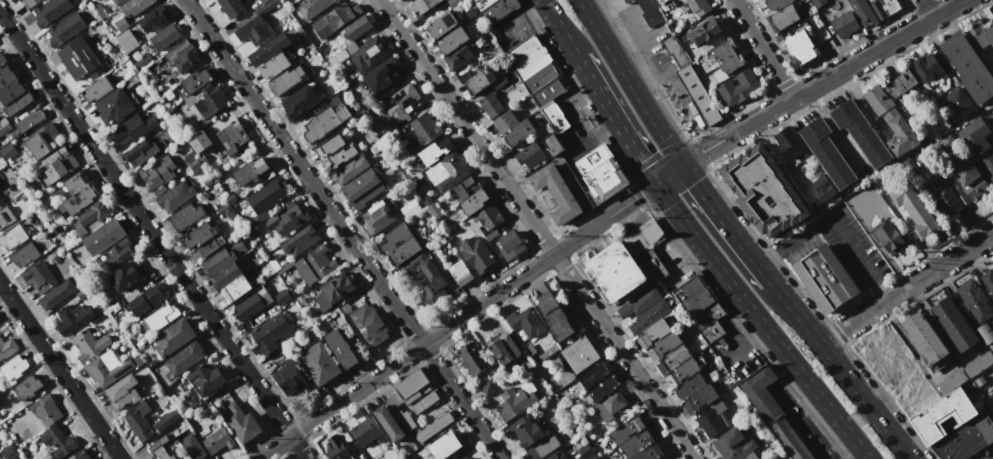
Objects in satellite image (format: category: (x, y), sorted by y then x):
building: (405, 0)
building: (408, 0)
building: (263, 1)
building: (628, 1)
building: (869, 1)
building: (117, 2)
building: (484, 2)
building: (29, 3)
building: (452, 3)
building: (776, 3)
building: (817, 3)
building: (423, 5)
building: (134, 7)
building: (266, 7)
building: (699, 7)
building: (884, 7)
building: (232, 8)
building: (312, 8)
building: (498, 9)
road: (927, 9)
building: (51, 10)
building: (649, 12)
building: (862, 12)
building: (782, 17)
road: (528, 18)
building: (154, 19)
building: (330, 21)
building: (120, 24)
building: (844, 24)
building: (441, 25)
building: (357, 27)
road: (559, 28)
building: (65, 30)
building: (255, 31)
building: (704, 32)
building: (981, 33)
building: (164, 37)
building: (453, 40)
building: (126, 41)
building: (799, 47)
building: (525, 48)
building: (269, 49)
building: (674, 51)
road: (763, 51)
building: (369, 54)
building: (727, 56)
building: (78, 57)
building: (457, 57)
building: (186, 58)
building: (2, 59)
building: (143, 63)
building: (532, 63)
building: (274, 65)
building: (0, 67)
building: (926, 67)
building: (967, 67)
road: (663, 71)
building: (6, 75)
building: (540, 77)
building: (384, 78)
building: (289, 79)
building: (196, 80)
building: (484, 81)
building: (901, 82)
road: (824, 83)
road: (632, 84)
building: (739, 87)
building: (97, 90)
building: (11, 91)
building: (548, 91)
building: (698, 94)
building: (956, 99)
building: (205, 100)
building: (300, 102)
building: (17, 103)
building: (490, 105)
building: (401, 106)
building: (114, 107)
building: (554, 116)
building: (28, 121)
road: (615, 121)
building: (891, 121)
building: (323, 123)
building: (4, 125)
building: (512, 129)
building: (133, 130)
building: (422, 132)
building: (860, 132)
road: (593, 135)
building: (974, 136)
building: (232, 137)
building: (925, 139)
building: (43, 140)
building: (197, 140)
building: (788, 142)
building: (946, 143)
building: (551, 145)
building: (338, 150)
building: (435, 150)
building: (140, 153)
building: (827, 153)
building: (951, 153)
building: (530, 158)
building: (192, 160)
building: (987, 164)
building: (56, 165)
traffic signals: (684, 167)
building: (350, 170)
building: (250, 171)
building: (445, 171)
building: (601, 171)
building: (160, 173)
road: (669, 175)
building: (968, 176)
building: (416, 181)
building: (207, 182)
building: (575, 184)
traffic signals: (654, 184)
building: (364, 188)
building: (822, 188)
building: (763, 191)
building: (556, 192)
building: (77, 194)
building: (175, 196)
building: (233, 196)
building: (470, 196)
building: (265, 197)
building: (943, 197)
building: (1, 201)
building: (410, 208)
building: (432, 208)
building: (914, 209)
building: (89, 216)
building: (185, 216)
building: (6, 217)
building: (378, 217)
building: (489, 217)
building: (287, 219)
road: (727, 224)
road: (834, 224)
road: (341, 229)
road: (534, 229)
building: (253, 231)
road: (153, 235)
building: (642, 236)
building: (13, 237)
building: (103, 237)
building: (201, 238)
building: (890, 238)
road: (875, 239)
building: (300, 241)
building: (510, 244)
building: (399, 245)
building: (119, 252)
building: (24, 254)
building: (477, 255)
building: (217, 261)
building: (314, 264)
building: (651, 265)
building: (615, 270)
building: (460, 273)
building: (426, 274)
building: (127, 275)
building: (226, 275)
building: (39, 277)
building: (825, 278)
building: (987, 279)
building: (237, 288)
road: (906, 288)
building: (687, 289)
building: (330, 290)
building: (57, 294)
building: (282, 296)
building: (145, 298)
building: (698, 301)
building: (975, 301)
building: (253, 302)
building: (639, 302)
building: (707, 314)
building: (554, 316)
building: (649, 316)
building: (73, 318)
building: (158, 318)
road: (456, 321)
building: (526, 321)
road: (761, 322)
building: (953, 324)
building: (368, 325)
building: (655, 331)
building: (270, 332)
building: (710, 332)
building: (986, 335)
building: (172, 337)
building: (924, 338)
building: (665, 343)
building: (686, 343)
building: (88, 344)
building: (981, 345)
building: (7, 347)
building: (341, 348)
building: (504, 348)
building: (529, 349)
building: (580, 354)
building: (184, 358)
building: (472, 358)
building: (672, 358)
building: (138, 360)
building: (318, 363)
building: (978, 365)
building: (14, 367)
building: (107, 368)
building: (684, 369)
road: (841, 369)
road: (59, 372)
building: (289, 377)
building: (206, 379)
building: (978, 381)
building: (951, 382)
building: (580, 383)
building: (689, 385)
building: (28, 387)
building: (488, 388)
building: (600, 388)
building: (124, 392)
building: (412, 392)
building: (990, 392)
building: (700, 399)
building: (513, 403)
building: (609, 405)
building: (46, 409)
building: (992, 409)
building: (772, 411)
building: (943, 414)
building: (711, 418)
building: (166, 419)
building: (405, 420)
building: (138, 421)
building: (242, 423)
building: (388, 423)
building: (433, 427)
building: (625, 430)
building: (367, 431)
building: (525, 431)
building: (217, 440)
building: (58, 441)
building: (635, 444)
building: (445, 445)
building: (733, 445)
building: (191, 447)
building: (337, 448)
building: (541, 448)
building: (585, 451)
building: (9, 452)
building: (648, 452)
building: (159, 454)
building: (80, 455)
building: (554, 456)
building: (750, 456)
building: (2, 457)
building: (591, 457)
road: (990, 457)
building: (465, 458)
building: (661, 458)
building: (840, 458)

